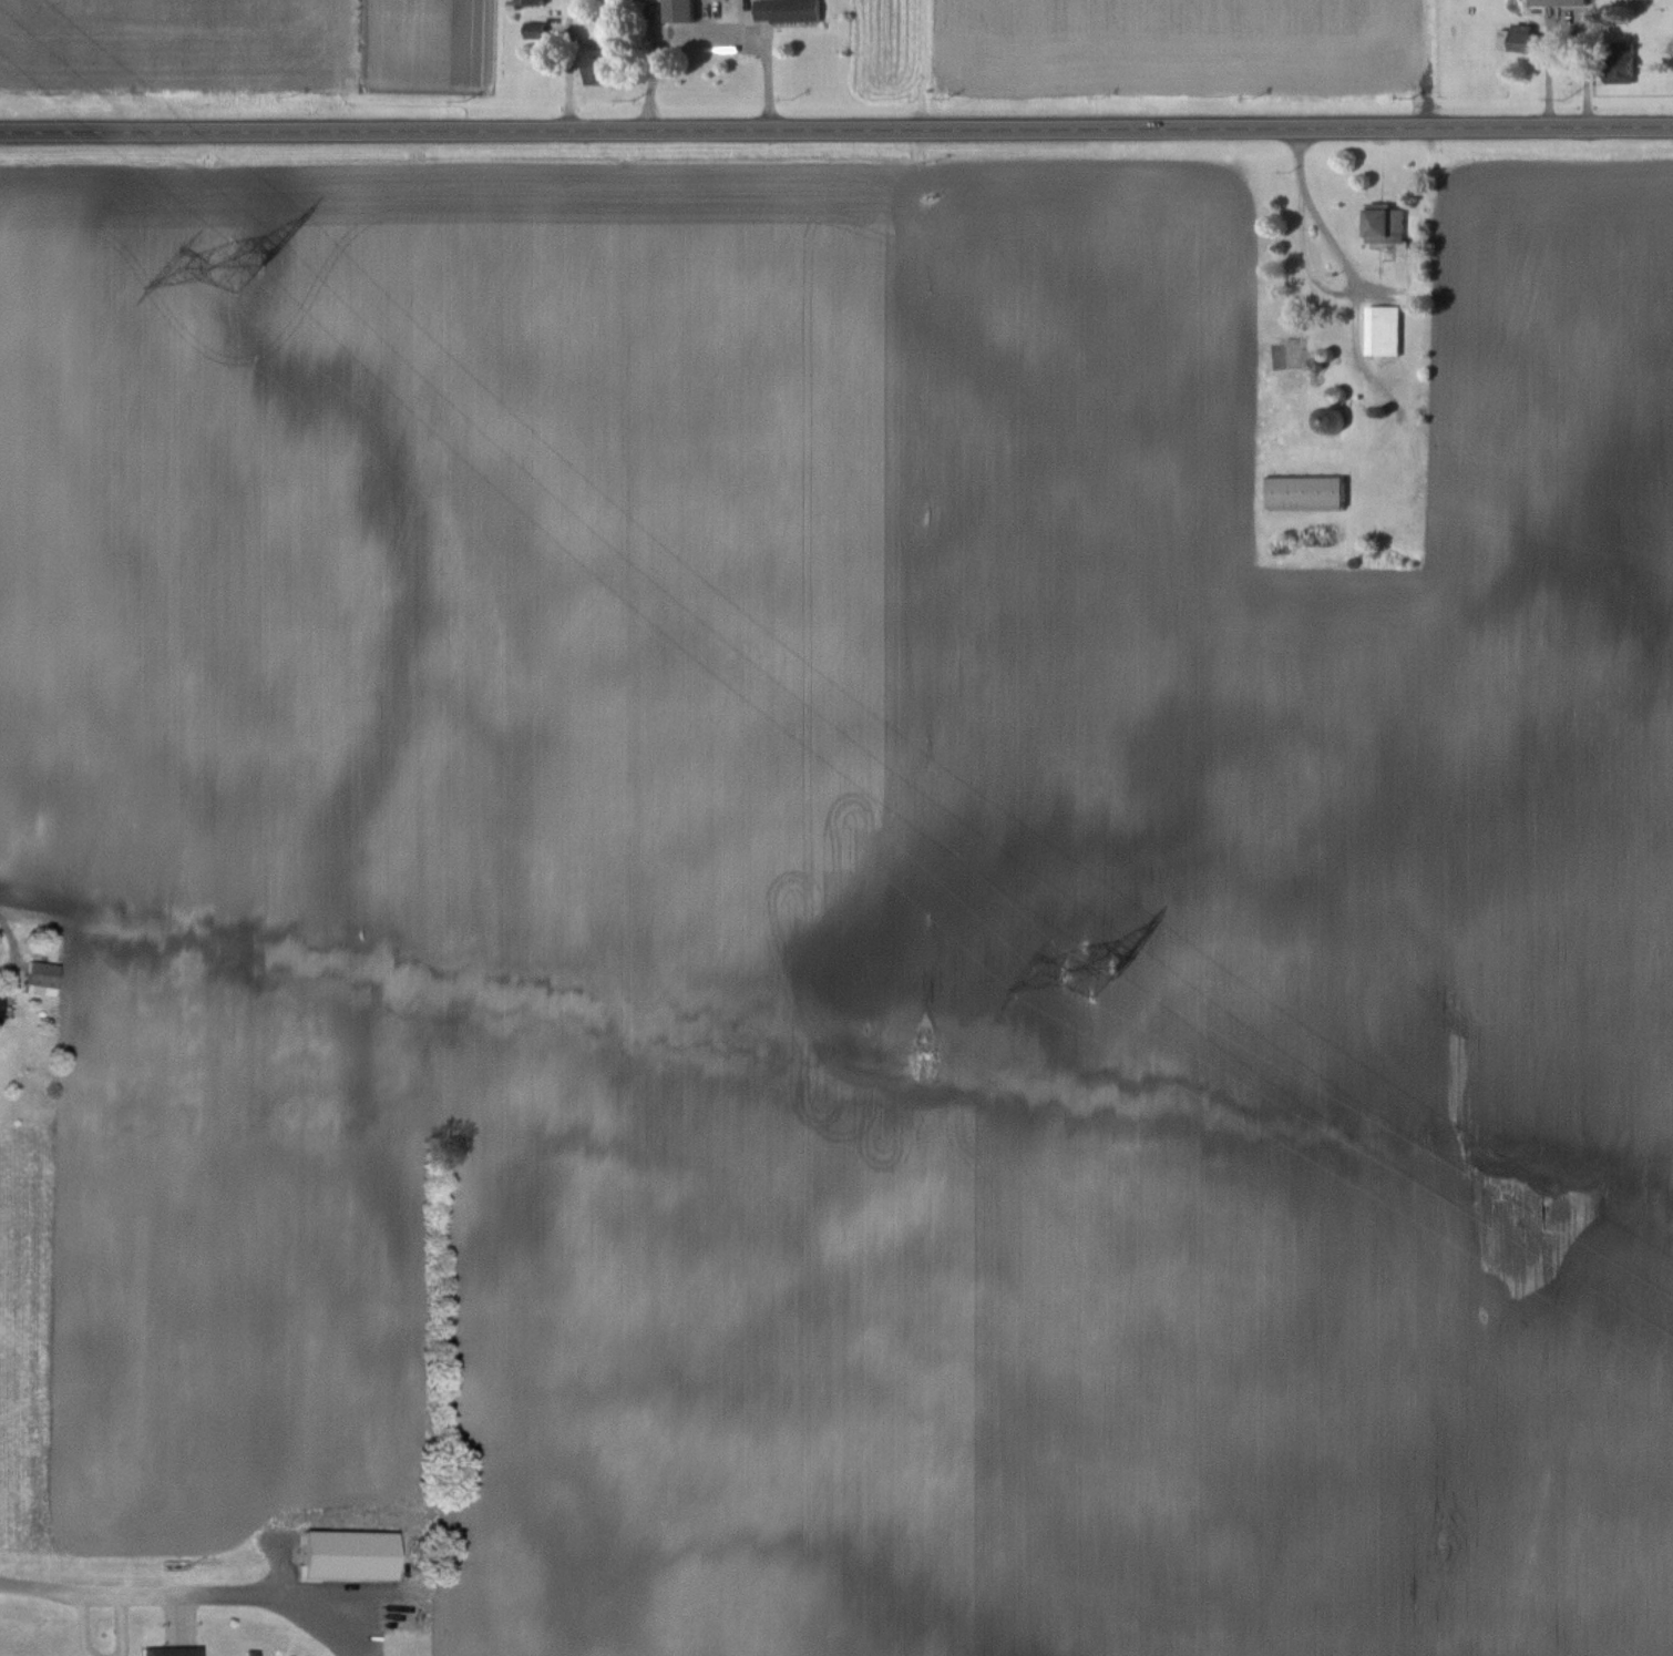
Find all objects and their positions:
building: (528, 1)
building: (677, 10)
building: (787, 10)
building: (533, 30)
building: (1516, 38)
road: (705, 44)
building: (1616, 62)
building: (596, 65)
road: (835, 129)
building: (1384, 223)
power tower: (237, 258)
road: (1303, 260)
road: (1342, 260)
building: (1382, 329)
building: (1327, 420)
building: (1304, 493)
power tower: (1089, 969)
building: (42, 979)
building: (1, 1003)
road: (186, 1592)
road: (84, 1624)
road: (124, 1624)
building: (171, 1650)

